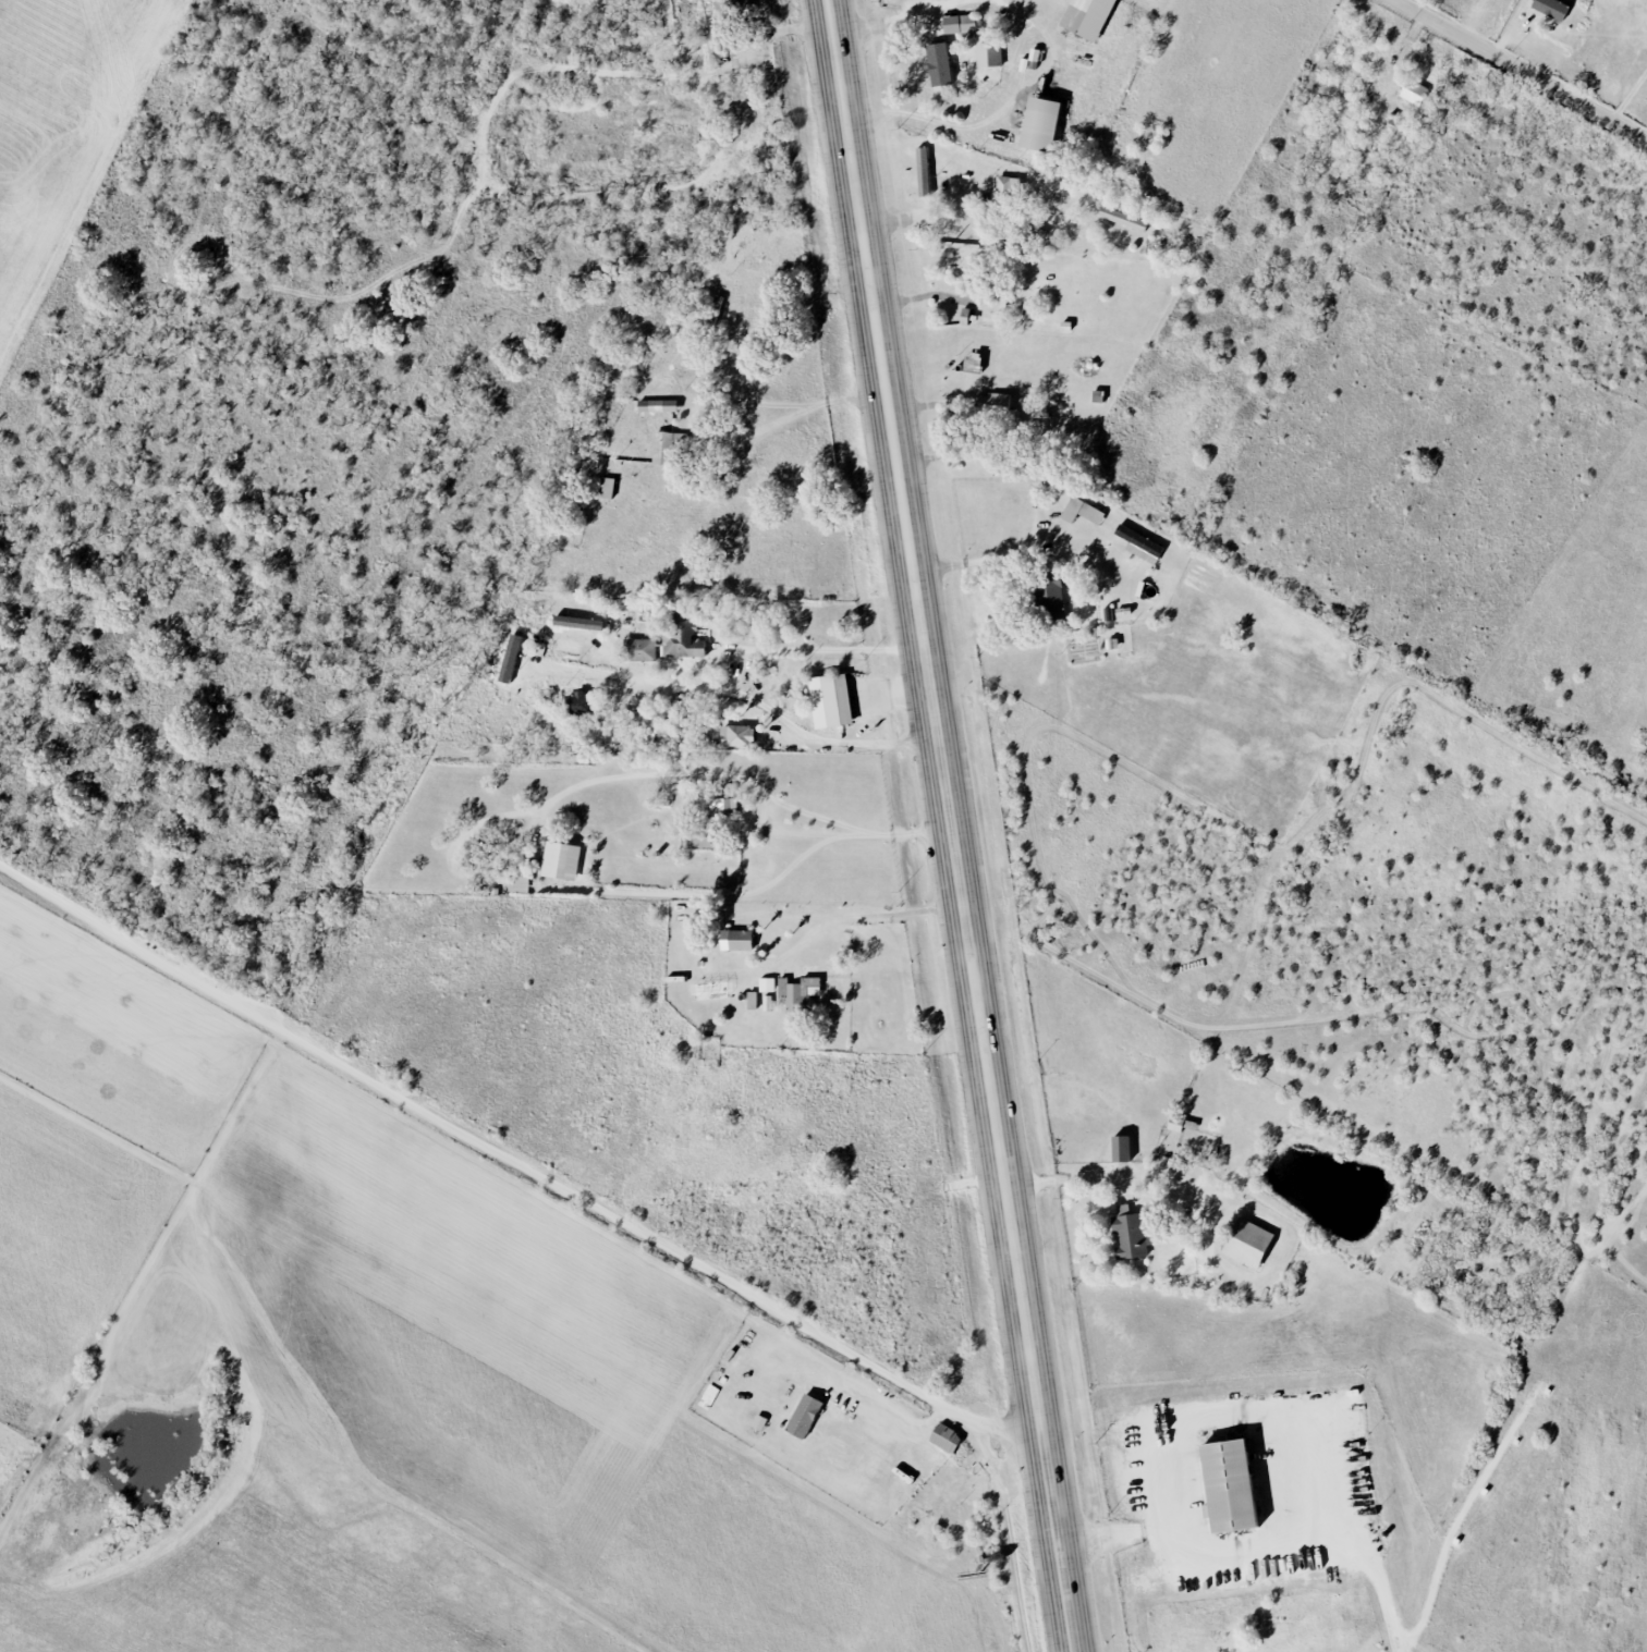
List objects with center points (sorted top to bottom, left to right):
road: (925, 3)
road: (1018, 4)
building: (1551, 8)
road: (895, 17)
building: (1087, 17)
building: (960, 23)
building: (715, 45)
building: (989, 54)
building: (1035, 54)
building: (939, 63)
road: (1522, 71)
building: (1414, 91)
road: (1628, 96)
road: (995, 115)
building: (1039, 124)
building: (923, 171)
building: (1008, 187)
road: (917, 213)
building: (1123, 218)
building: (1035, 231)
road: (927, 296)
building: (658, 406)
building: (998, 406)
road: (809, 409)
building: (667, 446)
building: (1082, 512)
building: (1140, 544)
road: (966, 559)
building: (1052, 597)
building: (578, 623)
building: (682, 636)
road: (828, 648)
building: (639, 650)
building: (511, 657)
road: (746, 701)
building: (830, 701)
building: (581, 705)
building: (672, 718)
building: (739, 735)
road: (640, 774)
building: (723, 807)
road: (955, 825)
road: (785, 832)
road: (769, 860)
building: (561, 861)
road: (789, 870)
building: (520, 884)
road: (867, 915)
building: (736, 941)
building: (767, 984)
building: (798, 991)
building: (752, 1001)
building: (1122, 1148)
road: (517, 1166)
road: (1069, 1175)
building: (1131, 1233)
building: (1247, 1243)
road: (1260, 1409)
building: (804, 1417)
building: (760, 1422)
building: (945, 1439)
building: (1228, 1486)
road: (1372, 1563)
road: (1413, 1644)
road: (1398, 1645)

